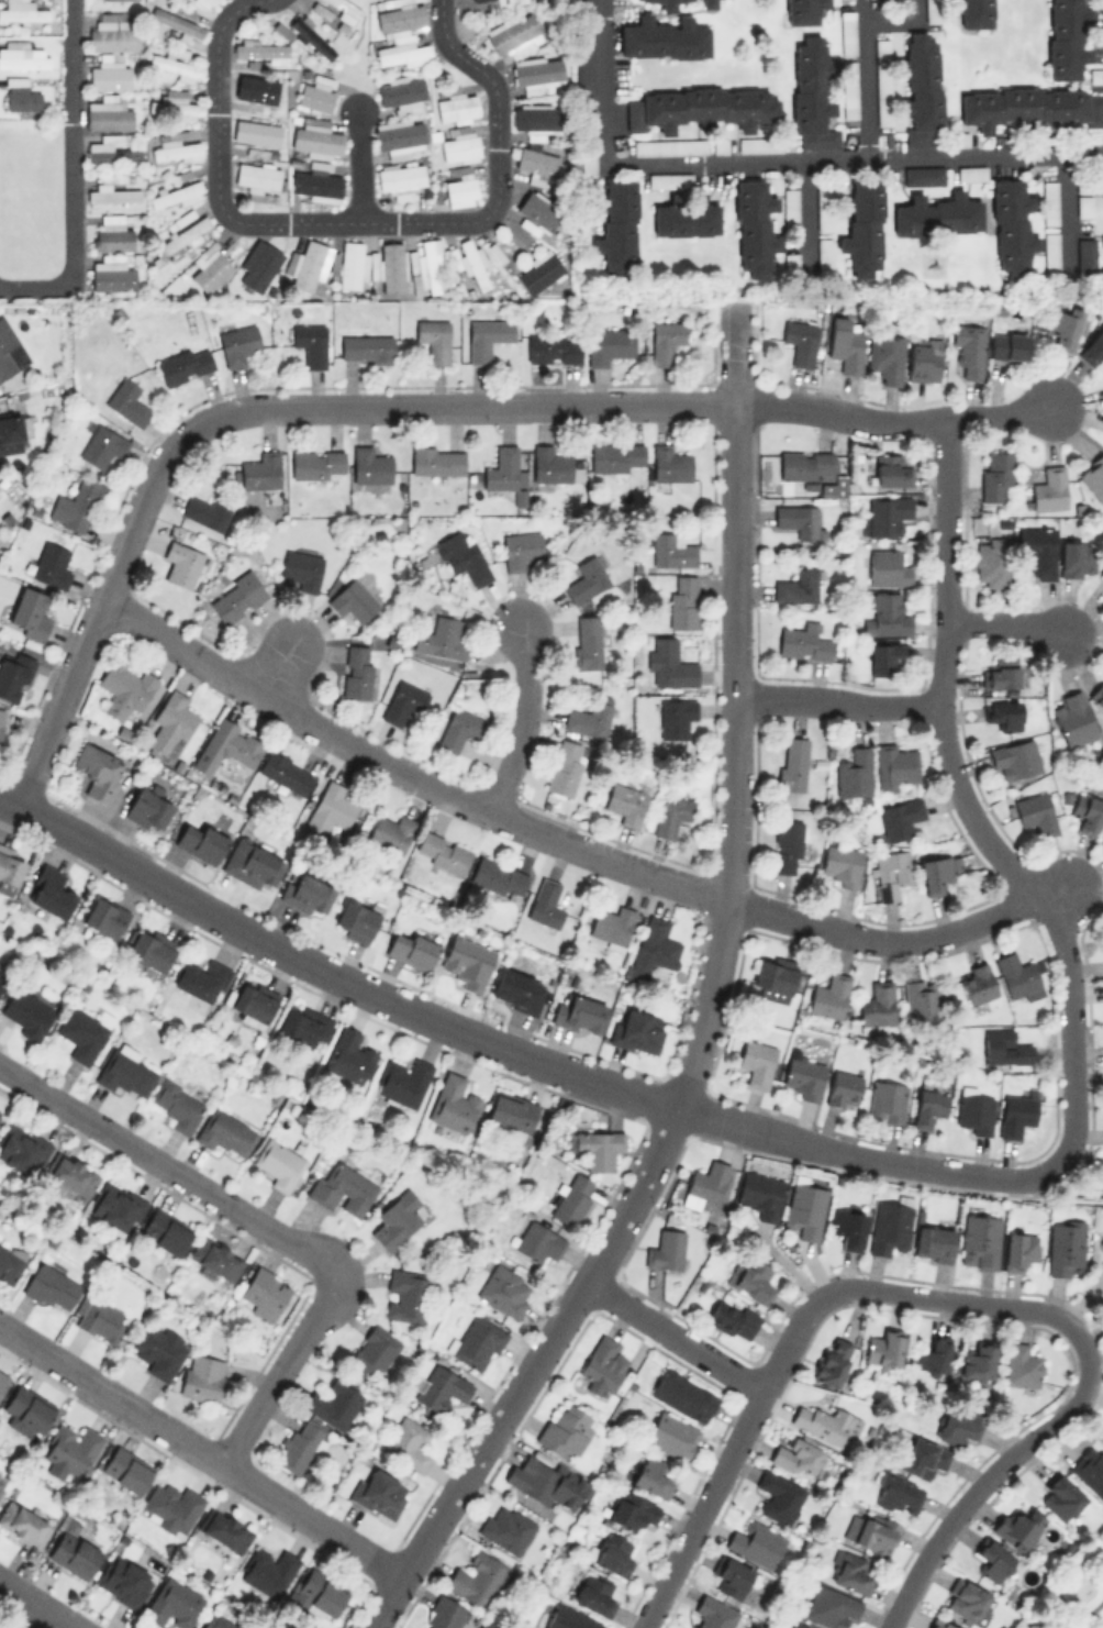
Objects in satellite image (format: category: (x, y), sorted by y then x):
building: (127, 0)
building: (511, 1)
building: (208, 2)
building: (708, 2)
building: (667, 4)
building: (343, 8)
building: (802, 10)
building: (932, 10)
building: (21, 11)
building: (971, 12)
building: (400, 18)
building: (178, 23)
building: (309, 32)
building: (846, 32)
building: (514, 33)
building: (113, 36)
building: (1066, 37)
building: (664, 38)
building: (260, 49)
building: (402, 53)
building: (21, 55)
building: (177, 67)
building: (538, 74)
building: (1095, 76)
building: (109, 77)
road: (866, 78)
building: (882, 81)
building: (847, 89)
building: (921, 90)
building: (316, 92)
building: (255, 93)
building: (401, 93)
building: (20, 95)
building: (811, 95)
building: (174, 104)
building: (1029, 107)
building: (456, 108)
building: (699, 108)
building: (108, 113)
building: (533, 118)
building: (256, 132)
building: (399, 136)
building: (957, 139)
building: (316, 140)
building: (758, 144)
building: (459, 145)
building: (720, 145)
building: (669, 146)
building: (176, 151)
building: (112, 152)
road: (776, 159)
building: (537, 164)
road: (358, 165)
building: (971, 171)
building: (923, 175)
road: (71, 176)
building: (256, 176)
building: (400, 179)
building: (669, 179)
building: (315, 184)
building: (460, 184)
building: (1082, 186)
building: (112, 190)
building: (174, 193)
building: (1049, 201)
building: (1083, 203)
building: (790, 208)
road: (809, 209)
building: (823, 209)
building: (937, 214)
building: (537, 215)
building: (686, 218)
road: (357, 221)
building: (617, 225)
building: (862, 226)
building: (1011, 226)
building: (754, 229)
building: (111, 234)
building: (183, 234)
building: (825, 252)
building: (1050, 252)
building: (1085, 255)
building: (790, 259)
building: (470, 262)
building: (258, 264)
building: (350, 264)
building: (308, 265)
building: (390, 266)
building: (209, 267)
building: (425, 267)
building: (538, 272)
building: (111, 277)
building: (1065, 328)
building: (486, 337)
building: (434, 339)
building: (666, 340)
building: (799, 340)
building: (310, 343)
building: (844, 343)
building: (237, 344)
building: (606, 344)
building: (1007, 345)
building: (365, 347)
building: (553, 347)
building: (1093, 347)
building: (969, 348)
building: (7, 350)
building: (885, 357)
building: (923, 358)
building: (183, 364)
building: (126, 401)
road: (567, 402)
road: (998, 413)
building: (12, 431)
building: (101, 445)
building: (615, 456)
building: (436, 459)
building: (316, 463)
building: (549, 463)
building: (669, 463)
building: (368, 466)
building: (806, 466)
building: (260, 470)
building: (891, 470)
building: (504, 473)
building: (995, 474)
building: (1093, 475)
building: (1049, 488)
building: (75, 505)
building: (207, 510)
building: (887, 514)
building: (799, 520)
building: (520, 549)
building: (1037, 549)
building: (671, 550)
building: (463, 556)
building: (1077, 557)
building: (991, 561)
building: (51, 563)
building: (181, 563)
building: (887, 567)
building: (300, 568)
building: (1101, 572)
building: (588, 577)
building: (796, 586)
building: (237, 597)
building: (353, 600)
building: (681, 601)
road: (99, 611)
building: (889, 612)
building: (27, 613)
road: (1005, 623)
building: (441, 638)
building: (801, 639)
building: (588, 641)
building: (885, 657)
building: (667, 664)
road: (276, 668)
building: (356, 671)
building: (1002, 672)
building: (13, 675)
building: (124, 689)
building: (1099, 696)
building: (403, 701)
road: (837, 701)
building: (1002, 712)
building: (1, 713)
building: (589, 717)
building: (675, 717)
building: (1073, 719)
road: (523, 722)
building: (171, 726)
building: (458, 728)
building: (226, 746)
building: (1014, 760)
building: (792, 763)
building: (895, 765)
building: (565, 766)
building: (97, 771)
building: (285, 772)
building: (856, 772)
road: (404, 774)
building: (625, 802)
road: (974, 806)
building: (146, 809)
building: (328, 809)
building: (1087, 811)
building: (1035, 812)
building: (670, 813)
building: (900, 817)
building: (390, 832)
building: (200, 842)
building: (787, 845)
building: (442, 852)
building: (250, 863)
building: (9, 864)
building: (842, 864)
building: (891, 872)
building: (935, 873)
building: (498, 877)
building: (49, 891)
building: (305, 893)
building: (545, 902)
building: (103, 916)
building: (355, 920)
building: (611, 926)
road: (887, 939)
building: (654, 946)
building: (151, 948)
building: (411, 948)
building: (467, 962)
building: (1, 975)
building: (1017, 976)
building: (773, 977)
building: (201, 979)
building: (977, 982)
building: (516, 989)
building: (828, 995)
building: (923, 999)
building: (253, 1003)
building: (877, 1007)
road: (705, 1010)
building: (26, 1012)
building: (578, 1014)
building: (303, 1023)
building: (83, 1031)
building: (637, 1031)
road: (506, 1048)
building: (1004, 1048)
building: (348, 1056)
building: (756, 1062)
building: (124, 1070)
building: (803, 1075)
building: (402, 1081)
building: (843, 1088)
building: (887, 1100)
building: (453, 1103)
building: (177, 1105)
building: (927, 1105)
building: (511, 1110)
building: (976, 1112)
building: (1015, 1114)
building: (224, 1131)
building: (595, 1147)
building: (22, 1149)
building: (278, 1163)
road: (166, 1164)
building: (71, 1175)
building: (704, 1184)
building: (342, 1188)
building: (759, 1194)
building: (572, 1198)
road: (1059, 1198)
building: (115, 1207)
building: (804, 1210)
building: (395, 1219)
building: (890, 1225)
building: (847, 1228)
building: (166, 1231)
building: (981, 1239)
building: (536, 1241)
building: (933, 1242)
building: (1102, 1242)
building: (1065, 1247)
building: (665, 1250)
building: (1018, 1250)
building: (214, 1259)
building: (10, 1262)
building: (750, 1278)
building: (51, 1287)
building: (504, 1289)
building: (264, 1292)
building: (406, 1295)
building: (99, 1318)
building: (732, 1318)
road: (675, 1334)
road: (787, 1340)
building: (477, 1342)
building: (158, 1349)
building: (375, 1349)
building: (883, 1350)
building: (933, 1354)
building: (833, 1360)
building: (978, 1361)
building: (603, 1362)
building: (1022, 1365)
road: (280, 1369)
building: (201, 1376)
building: (3, 1380)
building: (439, 1387)
building: (682, 1395)
building: (333, 1403)
building: (27, 1407)
road: (1089, 1414)
building: (823, 1422)
park: (1096, 1425)
building: (957, 1426)
building: (565, 1429)
building: (671, 1435)
building: (408, 1442)
building: (299, 1444)
building: (73, 1448)
road: (200, 1450)
building: (795, 1454)
building: (924, 1457)
building: (1090, 1468)
building: (125, 1469)
road: (991, 1473)
building: (650, 1475)
building: (2, 1481)
building: (541, 1482)
building: (895, 1492)
building: (378, 1493)
building: (777, 1496)
building: (1059, 1496)
building: (170, 1507)
building: (631, 1509)
building: (22, 1524)
building: (1017, 1527)
building: (505, 1528)
building: (224, 1530)
building: (869, 1531)
building: (755, 1542)
building: (74, 1552)
building: (612, 1553)
building: (992, 1559)
building: (267, 1571)
building: (849, 1571)
building: (475, 1579)
building: (733, 1579)
building: (123, 1581)
park: (1070, 1591)
building: (319, 1594)
building: (593, 1594)
building: (963, 1599)
building: (174, 1603)
road: (36, 1604)
building: (827, 1605)
building: (713, 1613)
road: (1084, 1614)
building: (445, 1615)
road: (30, 1616)
building: (569, 1618)
building: (219, 1621)
building: (938, 1624)
building: (800, 1625)

